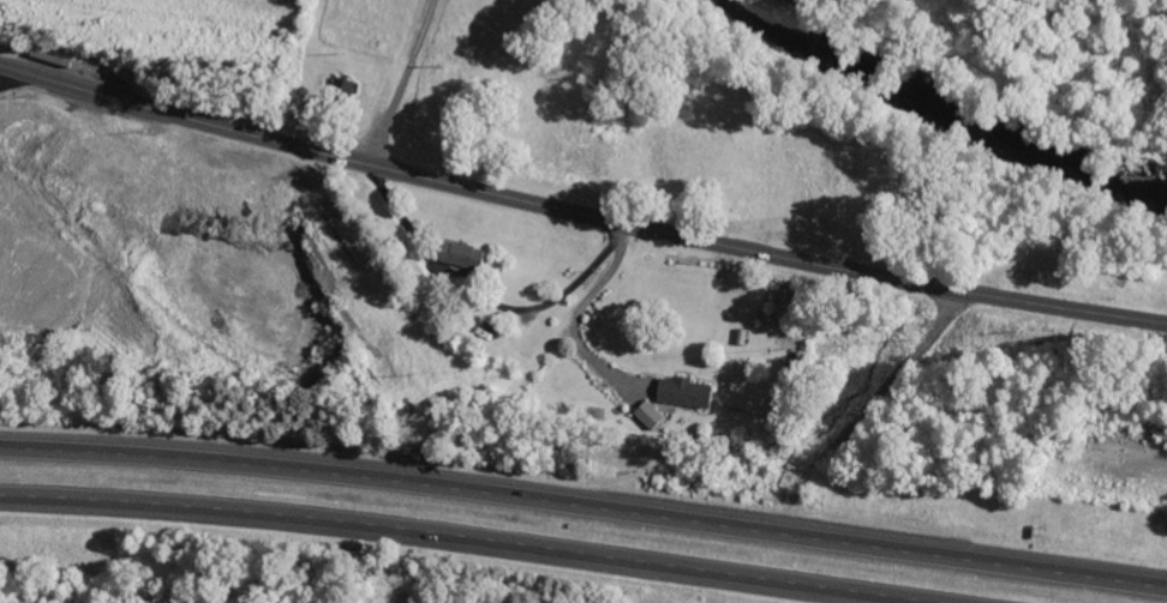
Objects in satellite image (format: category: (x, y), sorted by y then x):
road: (576, 215)
building: (456, 255)
road: (1165, 324)
building: (681, 393)
building: (646, 415)
road: (585, 505)
road: (457, 539)

